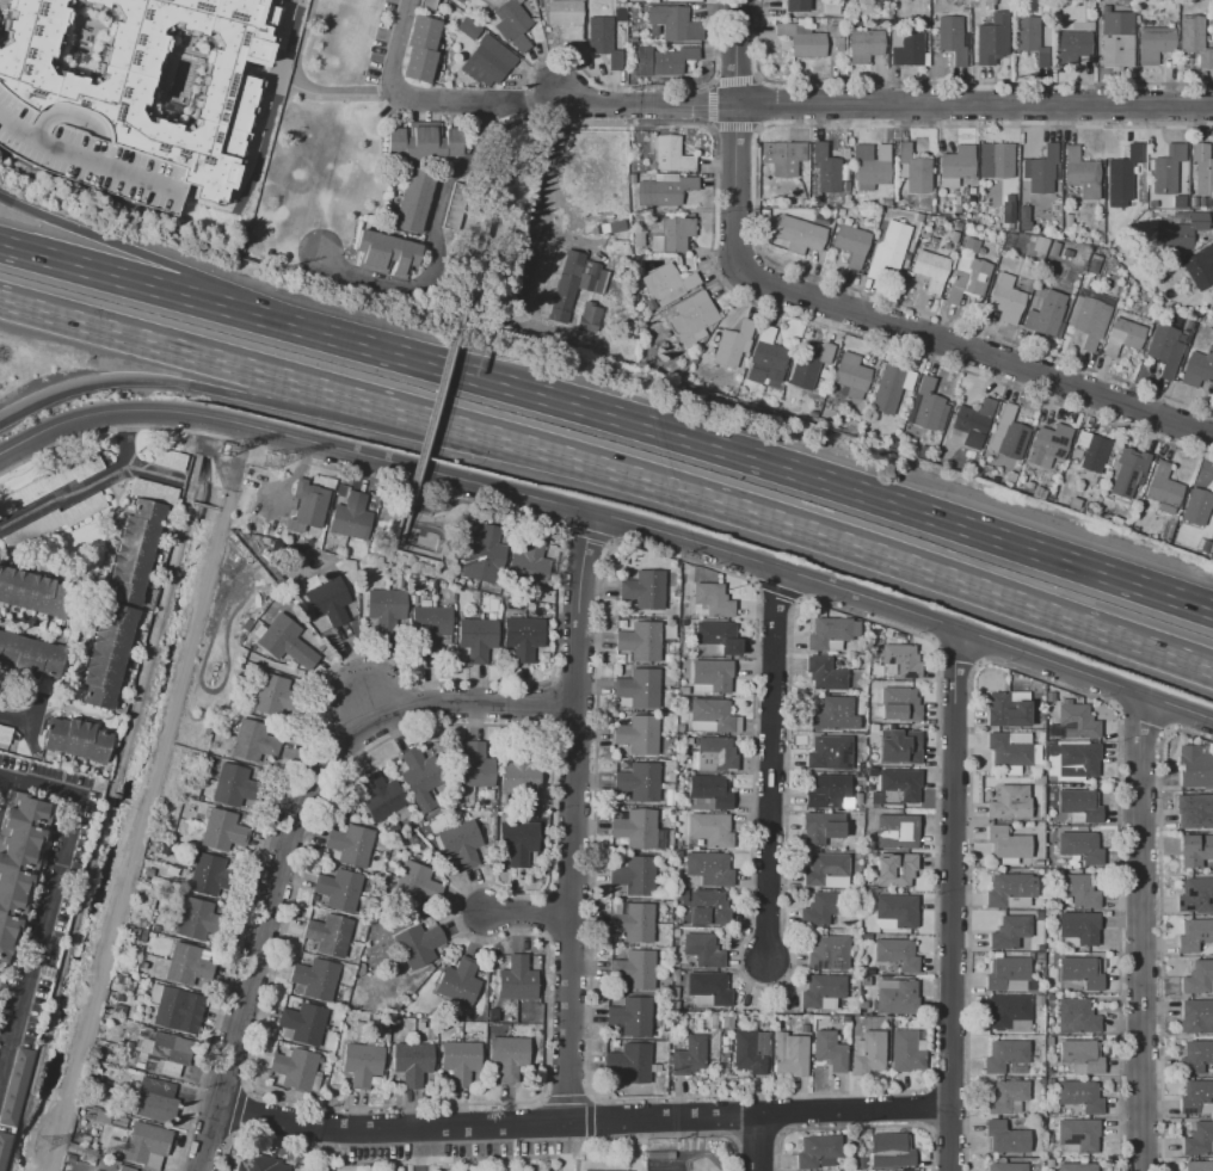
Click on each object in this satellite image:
building: (677, 0)
building: (427, 4)
building: (796, 5)
building: (986, 5)
building: (830, 7)
building: (618, 16)
building: (565, 17)
building: (510, 24)
building: (672, 24)
building: (835, 31)
building: (802, 38)
building: (952, 38)
building: (1030, 38)
building: (1116, 38)
building: (601, 39)
building: (991, 39)
building: (1194, 39)
building: (1153, 43)
building: (838, 44)
building: (864, 45)
building: (1071, 47)
building: (906, 48)
building: (420, 49)
building: (479, 50)
road: (734, 51)
building: (832, 58)
building: (666, 61)
road: (264, 75)
building: (146, 76)
road: (300, 82)
road: (431, 98)
road: (586, 100)
road: (973, 105)
road: (672, 106)
building: (423, 142)
building: (85, 154)
parking garage: (85, 154)
road: (554, 154)
building: (670, 154)
building: (845, 154)
building: (783, 158)
road: (76, 160)
building: (996, 160)
building: (956, 165)
building: (825, 170)
building: (873, 170)
building: (912, 170)
building: (1041, 170)
building: (1166, 170)
building: (1201, 170)
building: (1080, 173)
building: (1121, 178)
building: (632, 179)
building: (845, 186)
building: (664, 190)
building: (971, 190)
building: (954, 192)
building: (412, 198)
building: (846, 199)
building: (886, 203)
building: (1151, 203)
building: (454, 207)
building: (1008, 209)
building: (839, 211)
road: (505, 215)
building: (918, 217)
building: (1023, 218)
building: (820, 221)
building: (1066, 221)
building: (1180, 230)
building: (799, 234)
building: (672, 235)
building: (953, 236)
building: (638, 239)
road: (432, 240)
building: (852, 242)
building: (1039, 245)
building: (1053, 248)
building: (891, 249)
building: (386, 253)
building: (1092, 265)
road: (172, 266)
building: (1199, 267)
building: (931, 271)
building: (522, 273)
building: (967, 278)
building: (574, 283)
building: (666, 284)
building: (615, 291)
building: (1004, 298)
building: (649, 303)
road: (166, 313)
building: (1046, 315)
building: (1089, 316)
building: (589, 318)
building: (692, 319)
building: (1211, 321)
building: (604, 323)
road: (894, 327)
building: (1123, 333)
building: (733, 344)
building: (1164, 347)
building: (765, 358)
building: (808, 365)
building: (1197, 368)
building: (852, 375)
road: (284, 378)
building: (891, 389)
road: (281, 403)
building: (784, 403)
building: (926, 407)
building: (972, 424)
building: (1009, 434)
building: (1048, 444)
building: (942, 452)
building: (1092, 452)
power tower: (228, 454)
building: (170, 460)
power tower: (275, 463)
road: (423, 467)
road: (150, 472)
building: (1127, 472)
building: (1009, 477)
road: (774, 480)
building: (49, 482)
road: (84, 483)
building: (1163, 486)
building: (153, 492)
building: (1039, 493)
building: (309, 503)
building: (1073, 503)
building: (1196, 506)
road: (427, 511)
building: (352, 517)
building: (54, 520)
road: (611, 522)
building: (135, 550)
building: (480, 554)
road: (892, 556)
building: (528, 563)
building: (645, 590)
building: (32, 592)
building: (712, 600)
building: (327, 603)
building: (384, 609)
building: (430, 625)
building: (831, 631)
building: (523, 636)
building: (718, 636)
building: (282, 639)
building: (476, 639)
building: (640, 641)
building: (30, 657)
building: (107, 657)
building: (901, 659)
building: (712, 674)
building: (825, 674)
building: (639, 688)
building: (273, 697)
building: (900, 705)
building: (1006, 711)
building: (714, 714)
building: (835, 715)
road: (16, 717)
building: (1077, 721)
building: (5, 735)
building: (638, 735)
building: (76, 740)
building: (253, 741)
building: (899, 746)
building: (1008, 750)
building: (719, 752)
building: (829, 753)
building: (1075, 759)
road: (770, 765)
building: (1195, 766)
building: (473, 768)
building: (519, 771)
building: (209, 774)
building: (420, 776)
building: (639, 782)
road: (1, 783)
building: (234, 785)
building: (898, 785)
building: (710, 790)
building: (827, 791)
building: (380, 796)
building: (1009, 803)
building: (1079, 803)
building: (1197, 813)
road: (572, 818)
road: (287, 828)
building: (635, 828)
building: (710, 830)
building: (818, 830)
building: (895, 831)
building: (221, 832)
building: (517, 840)
building: (461, 843)
building: (1008, 843)
building: (349, 844)
building: (1080, 848)
building: (1194, 850)
building: (18, 861)
building: (823, 868)
building: (710, 869)
building: (894, 869)
building: (148, 873)
building: (210, 875)
building: (634, 875)
building: (417, 885)
building: (1009, 888)
building: (338, 889)
building: (1078, 890)
road: (49, 893)
building: (1195, 895)
road: (952, 900)
building: (702, 907)
building: (820, 908)
building: (897, 910)
road: (527, 913)
building: (198, 922)
building: (633, 922)
building: (1079, 927)
building: (1008, 932)
building: (328, 933)
road: (1139, 933)
building: (1194, 935)
building: (418, 944)
building: (702, 950)
building: (827, 953)
building: (895, 954)
building: (187, 964)
building: (635, 969)
building: (1005, 972)
building: (1080, 972)
building: (1197, 978)
building: (314, 979)
building: (517, 979)
building: (457, 981)
building: (708, 987)
building: (820, 990)
building: (897, 998)
building: (174, 1009)
building: (1009, 1012)
building: (630, 1017)
building: (1076, 1017)
building: (1196, 1017)
building: (302, 1023)
building: (829, 1050)
building: (905, 1050)
building: (166, 1052)
building: (747, 1053)
building: (868, 1054)
building: (689, 1055)
building: (789, 1055)
building: (1004, 1055)
building: (1082, 1055)
building: (506, 1056)
building: (1195, 1056)
building: (461, 1061)
building: (411, 1062)
building: (634, 1062)
building: (362, 1065)
building: (294, 1067)
building: (14, 1085)
building: (1079, 1096)
building: (1195, 1096)
road: (587, 1097)
building: (1008, 1097)
road: (564, 1099)
building: (154, 1101)
building: (101, 1117)
road: (585, 1118)
building: (118, 1122)
road: (581, 1122)
road: (752, 1134)
building: (1078, 1134)
building: (1005, 1138)
building: (1197, 1139)
building: (140, 1144)
road: (755, 1144)
building: (2, 1147)
power tower: (42, 1148)
road: (324, 1150)
road: (417, 1150)
building: (888, 1150)
building: (817, 1152)
road: (634, 1153)
road: (544, 1155)
power tower: (87, 1157)
building: (260, 1164)
track: (701, 1164)
building: (1006, 1166)
building: (1077, 1166)
building: (1200, 1166)
building: (125, 1169)
building: (580, 1170)

